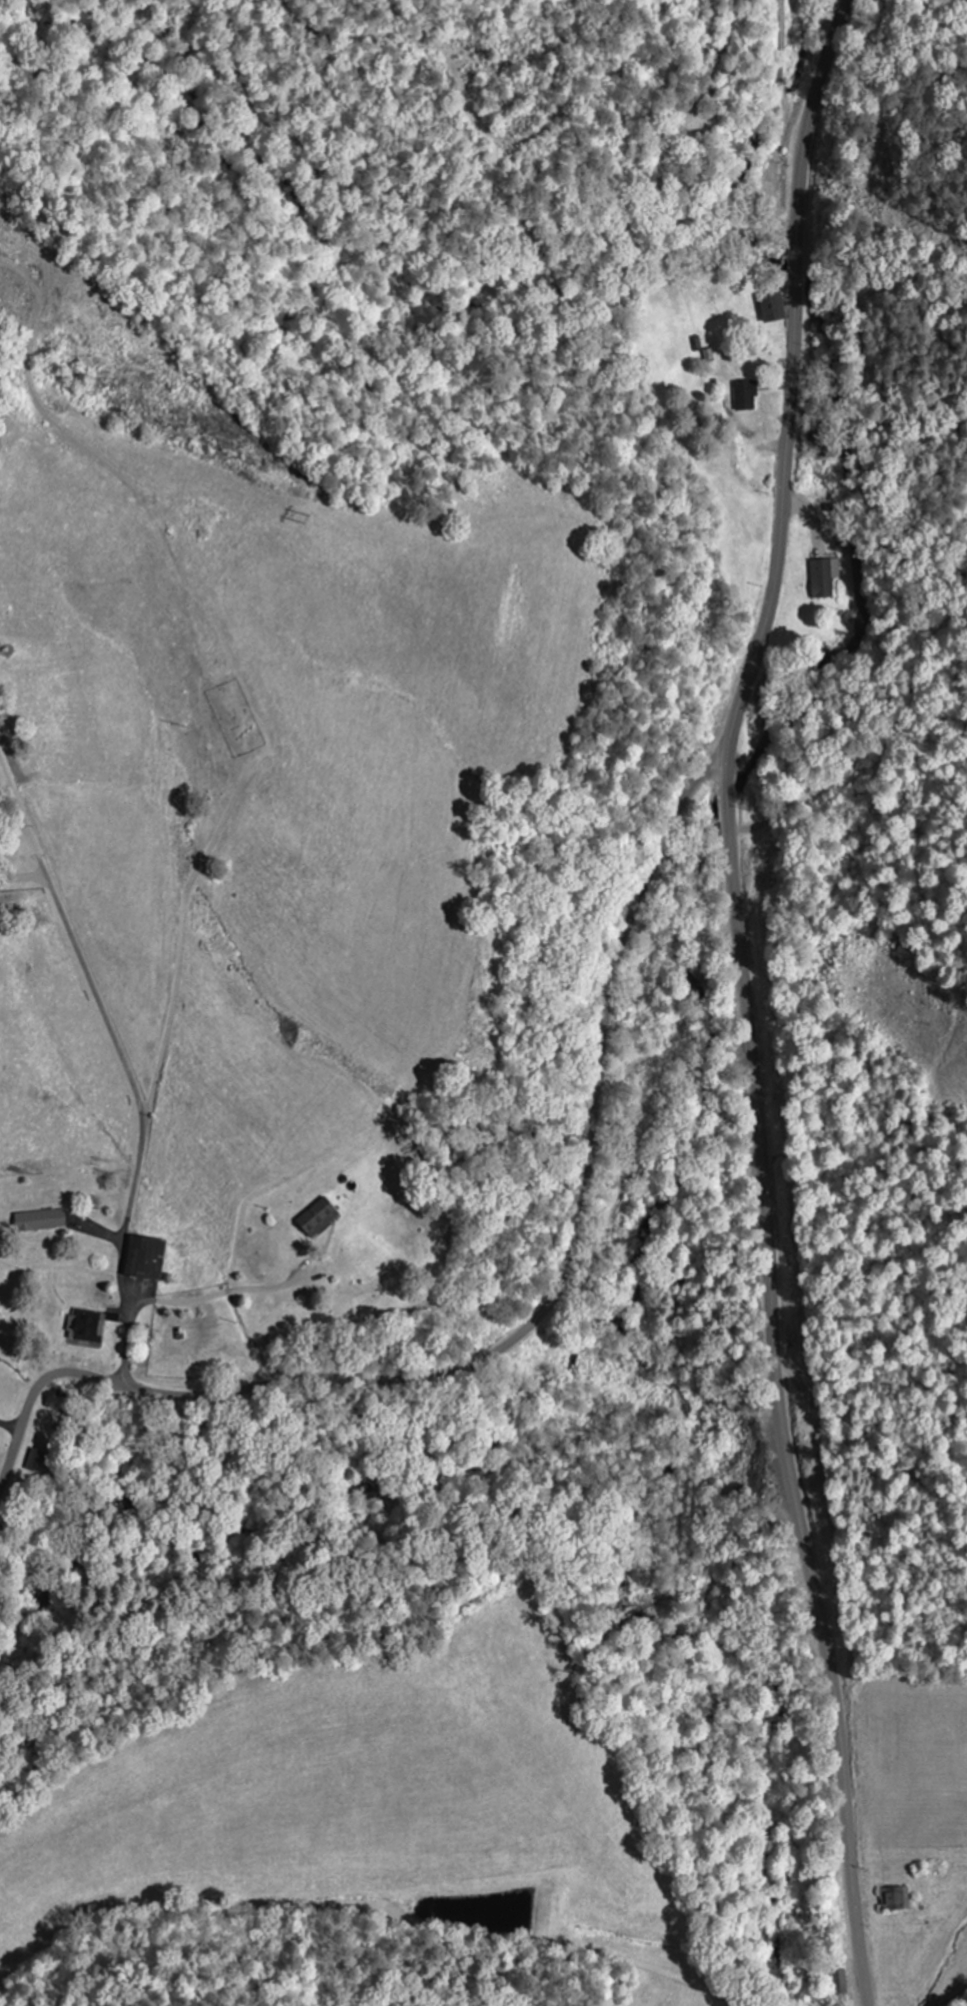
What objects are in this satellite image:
building: (771, 303)
building: (823, 578)
road: (746, 997)
building: (317, 1217)
building: (39, 1220)
building: (145, 1257)
building: (87, 1326)
road: (521, 1327)
building: (40, 1462)
building: (895, 1897)
road: (957, 2000)

